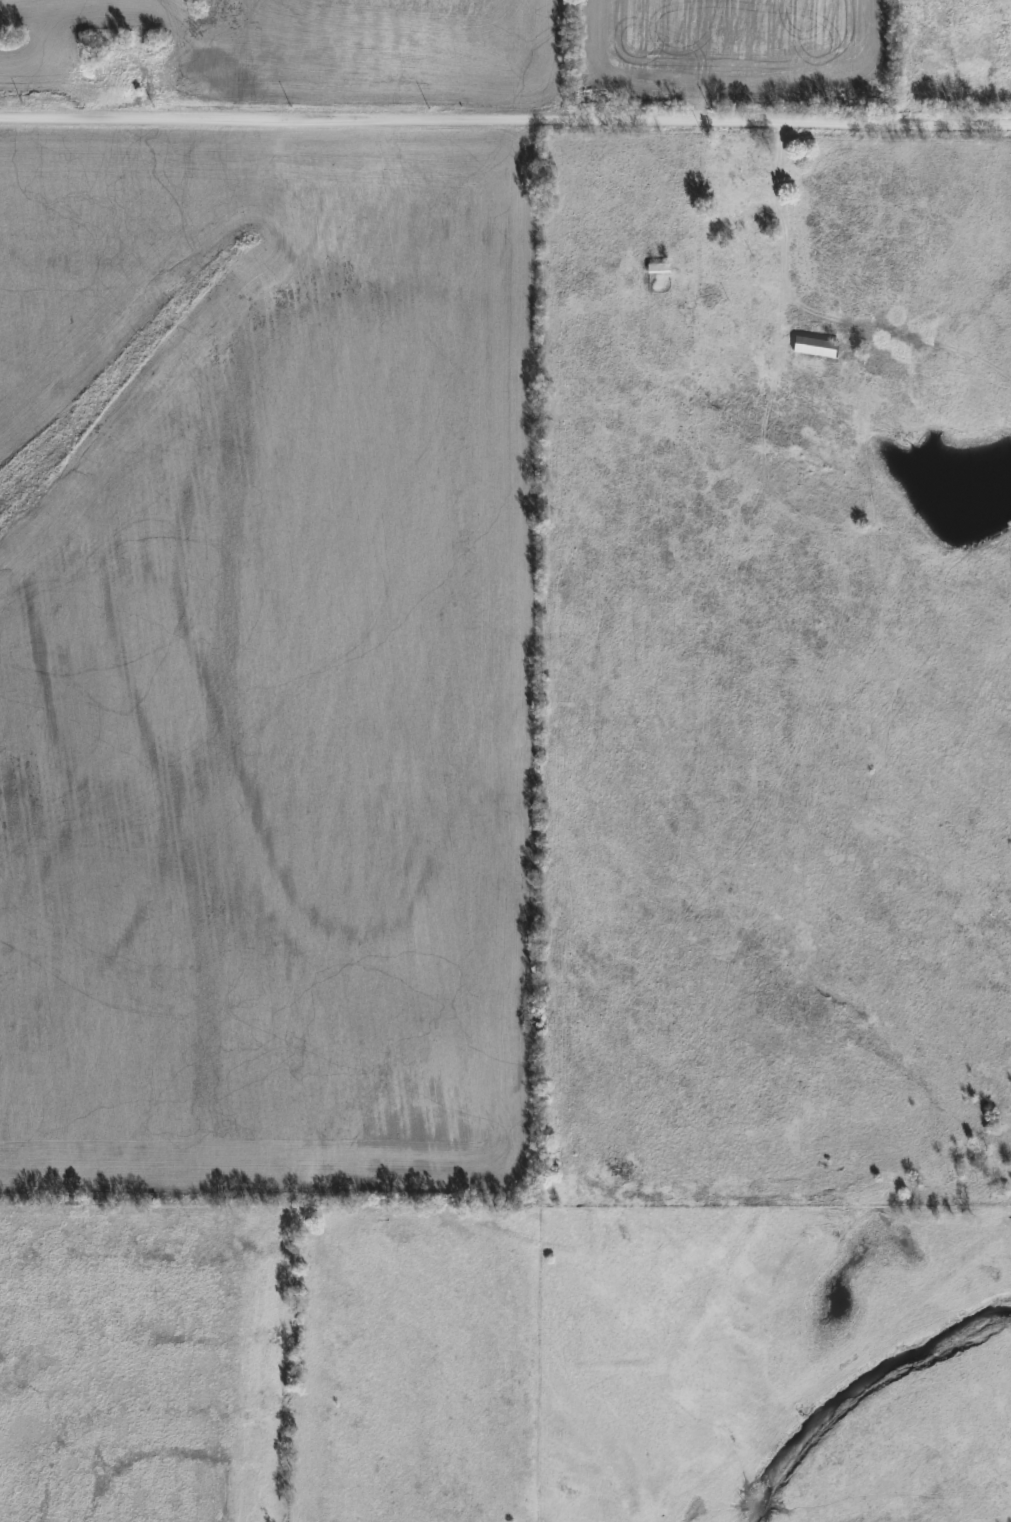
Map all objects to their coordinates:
road: (505, 127)
building: (733, 165)
road: (772, 229)
building: (658, 268)
building: (816, 347)

